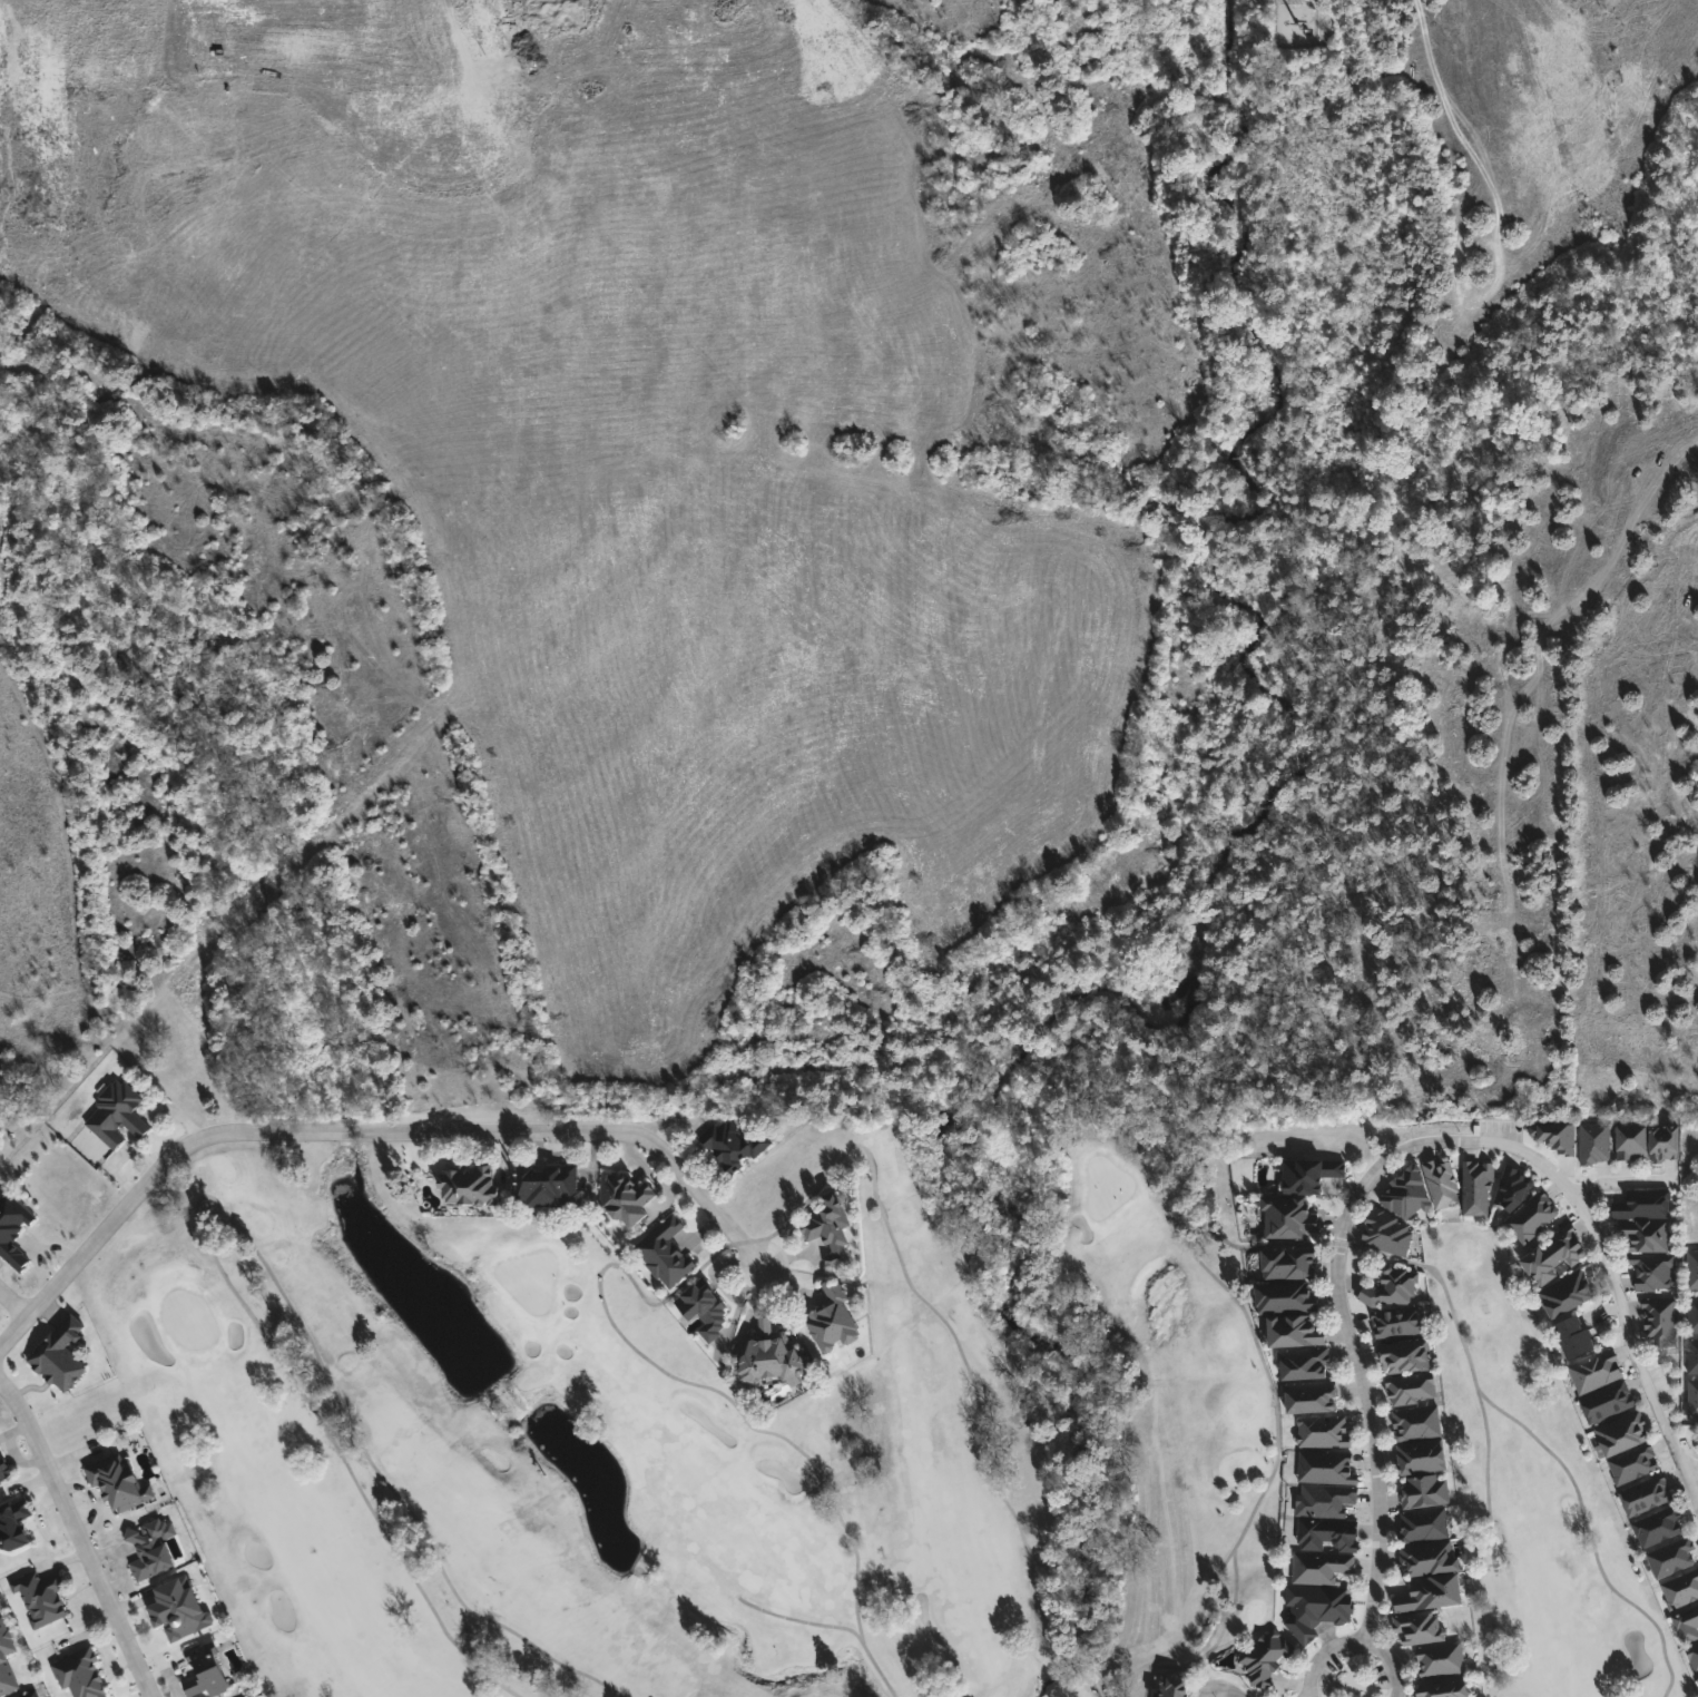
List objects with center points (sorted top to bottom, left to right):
building: (117, 1114)
road: (364, 1129)
building: (1557, 1136)
building: (1630, 1141)
building: (1663, 1141)
building: (1594, 1142)
building: (735, 1145)
road: (1401, 1149)
building: (1308, 1173)
building: (546, 1184)
building: (467, 1185)
building: (1441, 1185)
building: (1512, 1186)
building: (1476, 1187)
building: (1405, 1194)
building: (625, 1197)
building: (1287, 1215)
building: (1532, 1216)
building: (13, 1228)
building: (828, 1229)
building: (1387, 1234)
building: (1646, 1236)
building: (665, 1252)
building: (1552, 1255)
building: (1287, 1265)
building: (1692, 1268)
building: (1391, 1287)
building: (1566, 1295)
building: (1285, 1297)
road: (13, 1303)
building: (703, 1308)
building: (1692, 1314)
building: (832, 1318)
building: (1397, 1318)
building: (1660, 1322)
building: (1293, 1330)
building: (1572, 1334)
building: (767, 1354)
building: (60, 1355)
building: (1404, 1355)
building: (1692, 1355)
building: (1303, 1363)
building: (1594, 1372)
building: (1411, 1389)
building: (1309, 1395)
building: (1692, 1396)
building: (1606, 1402)
building: (1416, 1422)
building: (1323, 1431)
park: (718, 1433)
building: (1621, 1433)
park: (710, 1439)
building: (1420, 1456)
building: (1632, 1462)
building: (4, 1465)
building: (1325, 1467)
road: (1692, 1471)
building: (120, 1482)
building: (1424, 1490)
building: (1646, 1494)
park: (1535, 1498)
building: (1323, 1500)
park: (1534, 1501)
building: (13, 1523)
building: (1424, 1523)
building: (1658, 1524)
building: (1326, 1532)
road: (79, 1536)
building: (153, 1547)
building: (1429, 1556)
building: (1671, 1557)
building: (1321, 1567)
building: (1680, 1588)
building: (1429, 1592)
building: (42, 1596)
building: (177, 1607)
building: (1315, 1609)
building: (1686, 1624)
building: (1419, 1627)
road: (1353, 1640)
building: (1692, 1655)
building: (1264, 1656)
building: (1441, 1658)
building: (7, 1659)
building: (204, 1673)
building: (81, 1674)
building: (1697, 1678)
building: (1171, 1686)
building: (1441, 1688)
building: (30, 1694)
building: (249, 1696)

